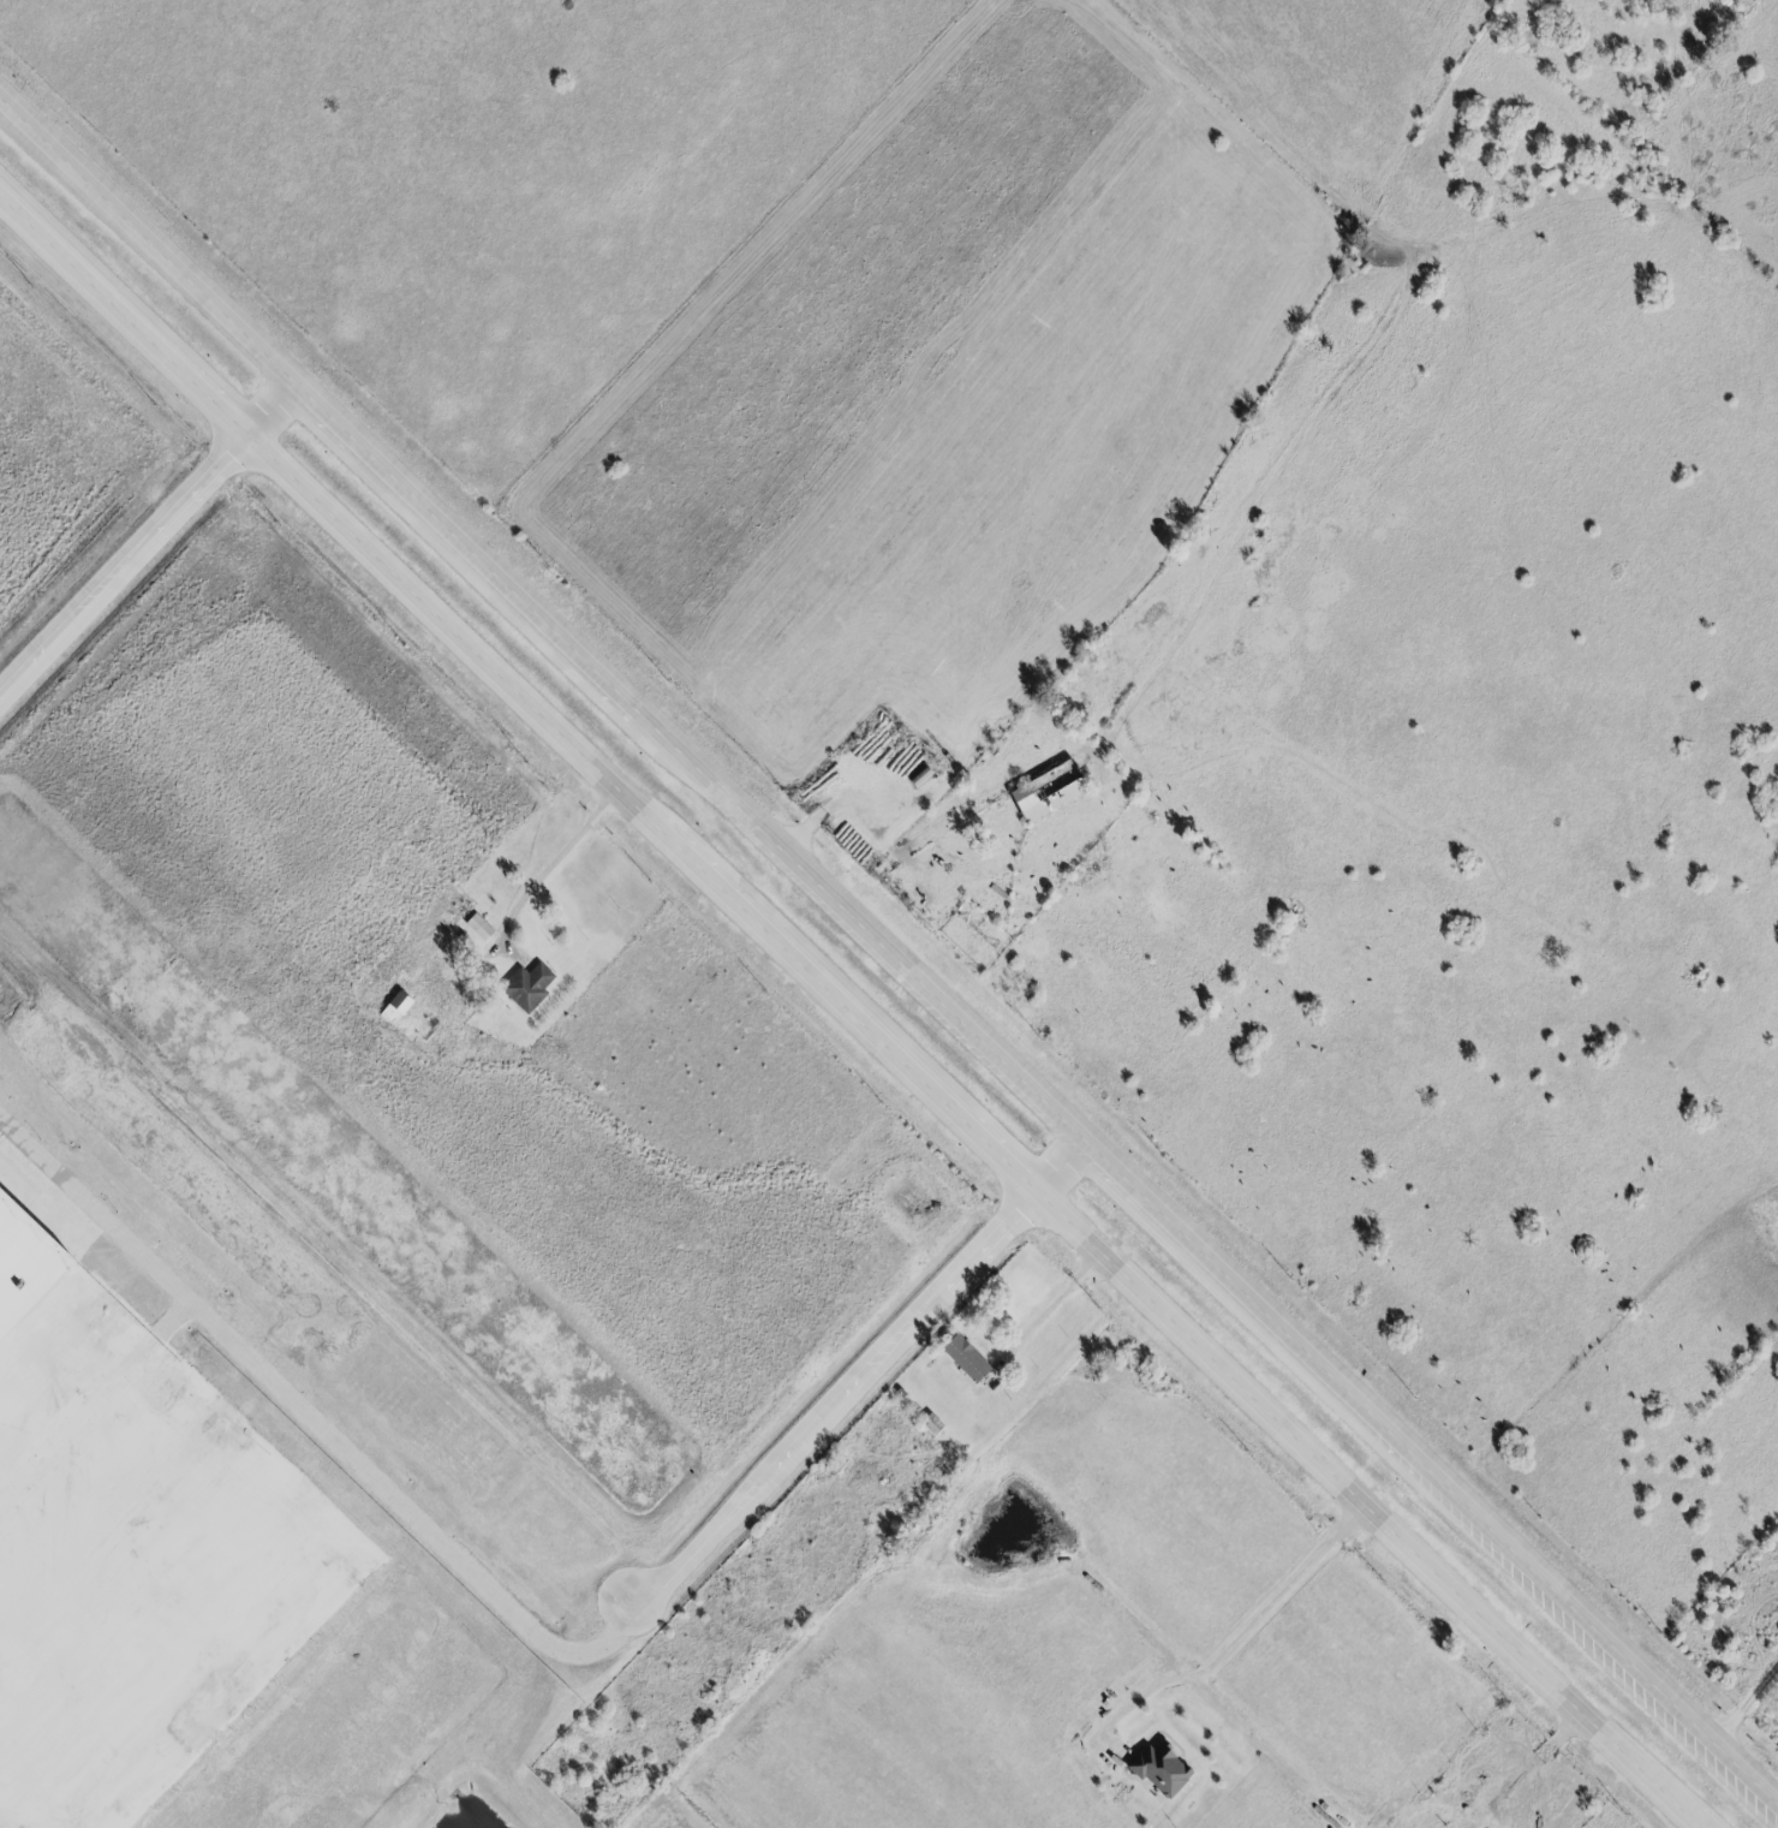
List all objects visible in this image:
road: (272, 415)
road: (119, 568)
building: (915, 778)
building: (1037, 802)
road: (544, 875)
building: (481, 928)
road: (888, 947)
building: (531, 987)
road: (848, 1020)
building: (86, 1046)
road: (1049, 1305)
building: (961, 1358)
road: (863, 1374)
building: (929, 1424)
building: (131, 1554)
road: (1245, 1635)
road: (1747, 1702)
building: (1157, 1770)

